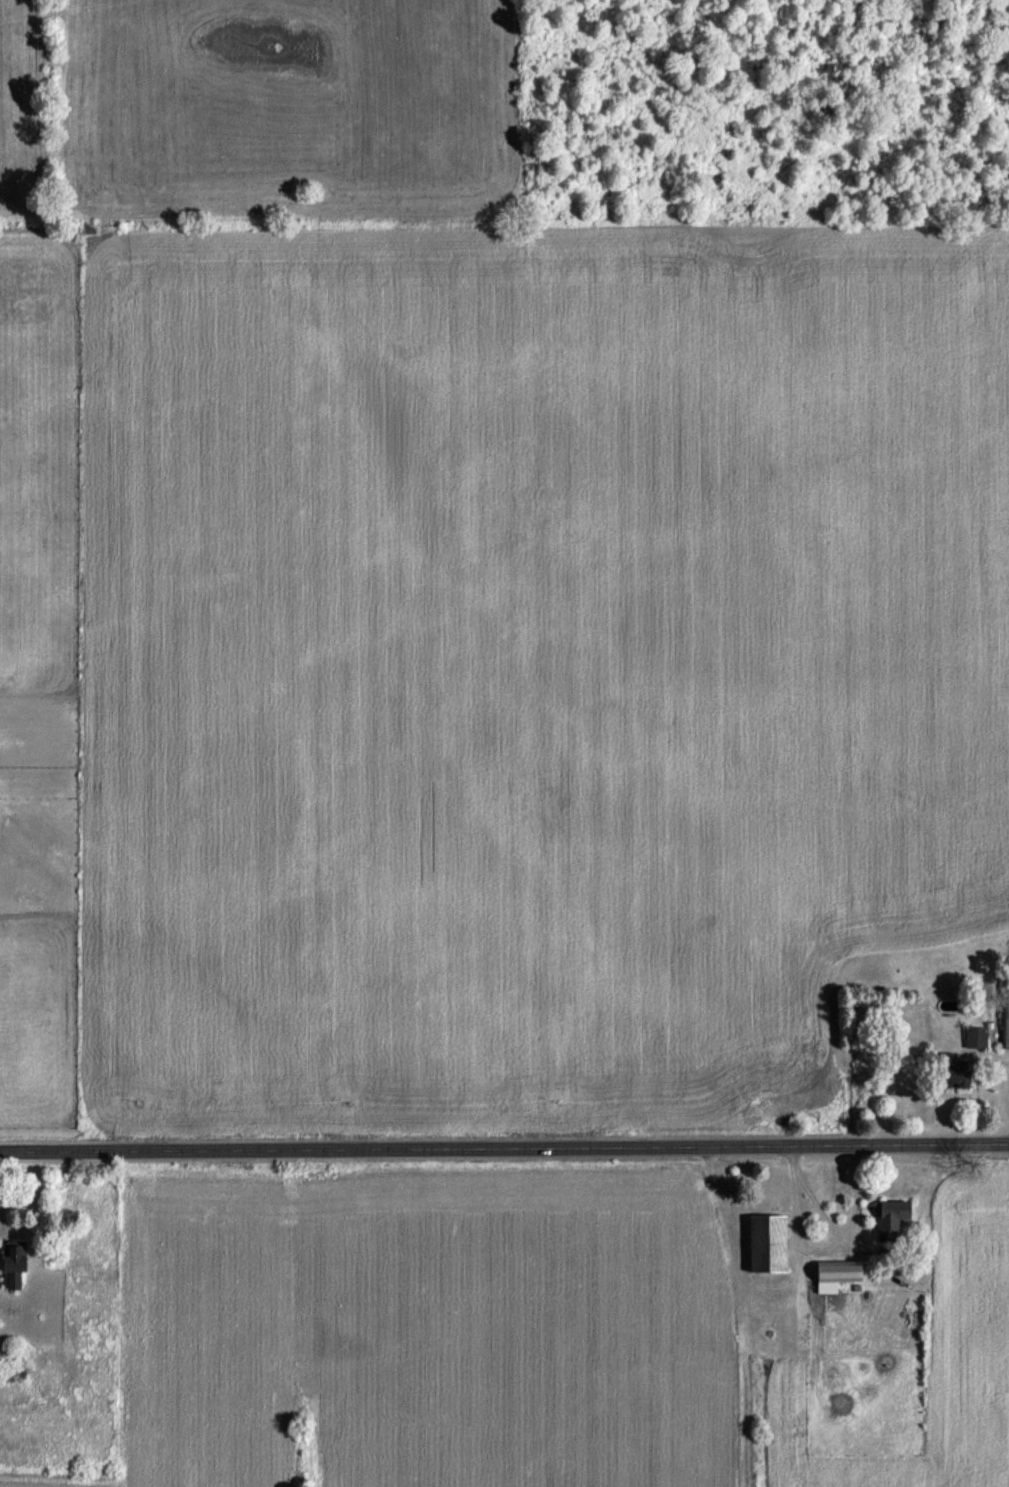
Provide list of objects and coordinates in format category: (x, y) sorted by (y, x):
building: (1005, 1018)
building: (974, 1041)
building: (949, 1076)
road: (504, 1152)
building: (888, 1220)
building: (763, 1248)
road: (823, 1252)
building: (11, 1270)
building: (833, 1278)

